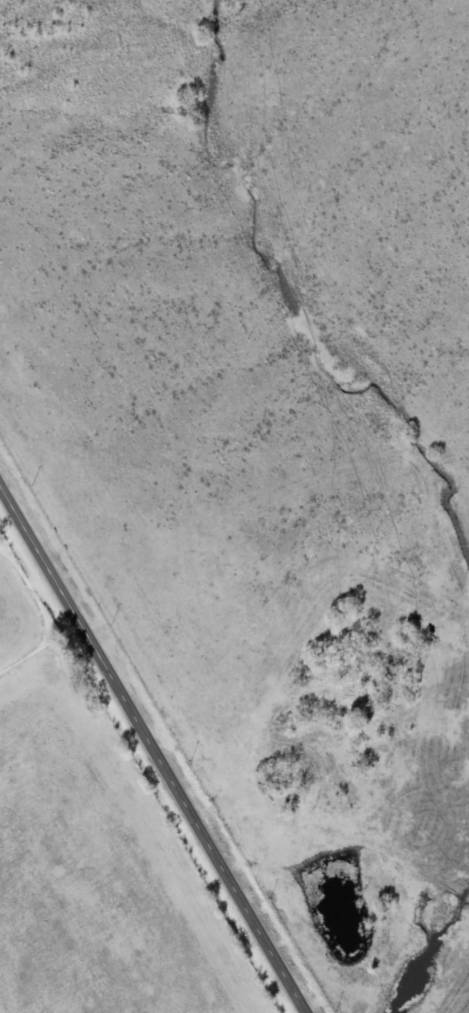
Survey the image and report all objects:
road: (158, 741)

